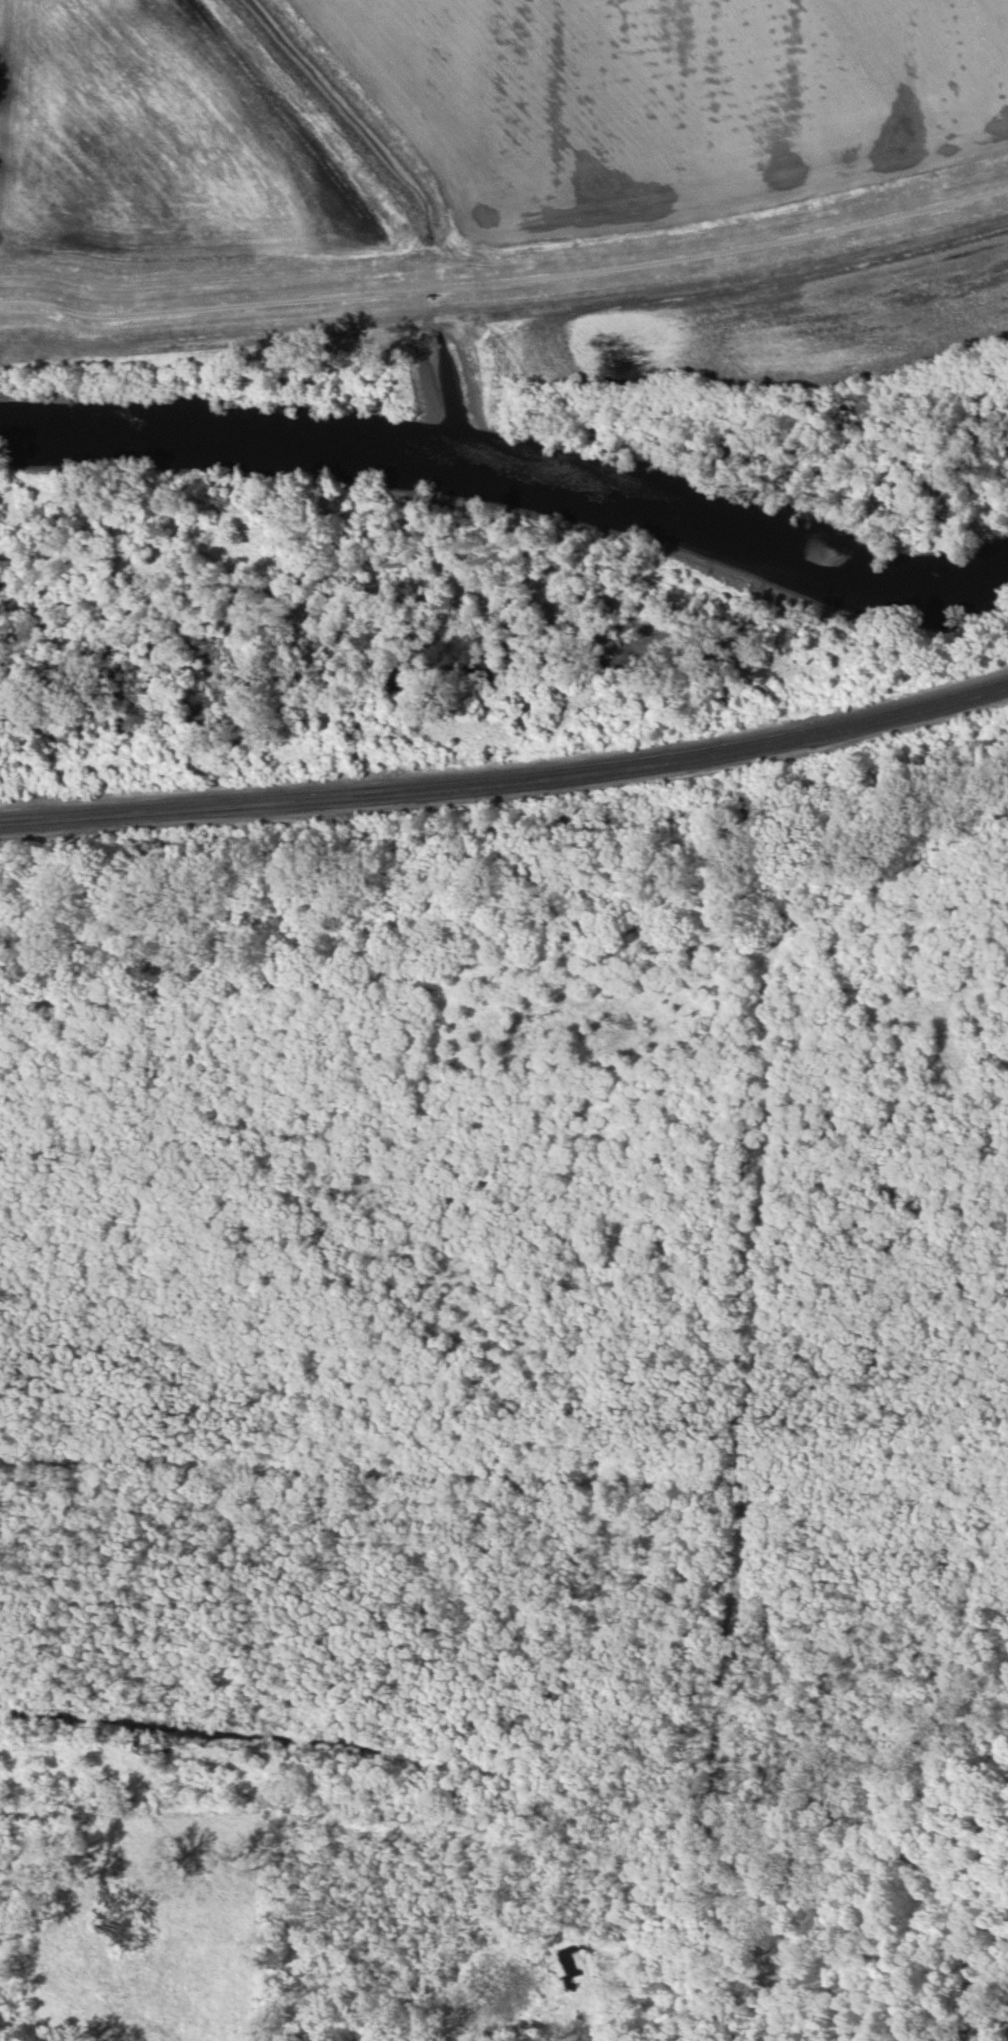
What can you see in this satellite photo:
crop: (674, 96)
road: (506, 280)
river: (514, 473)
railway: (507, 766)
railway: (507, 775)

